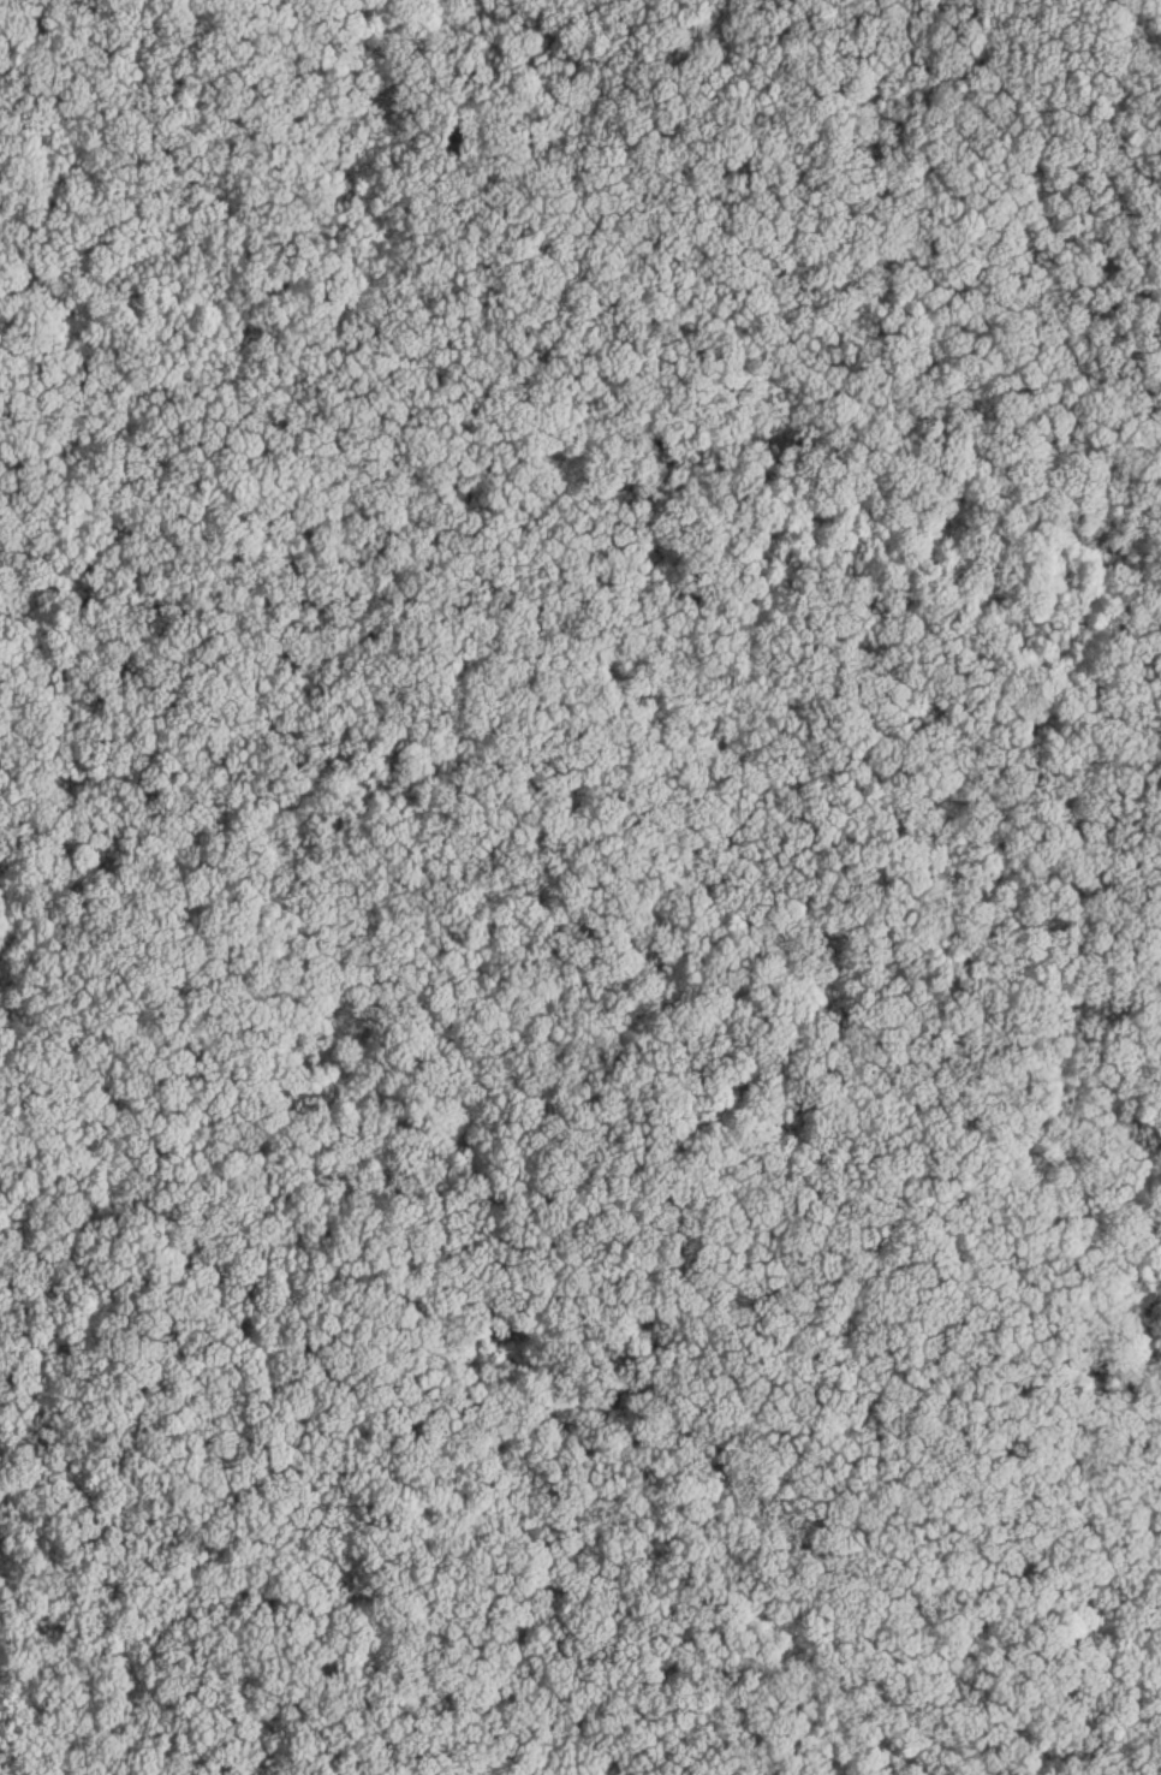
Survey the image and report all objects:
road: (190, 1141)

